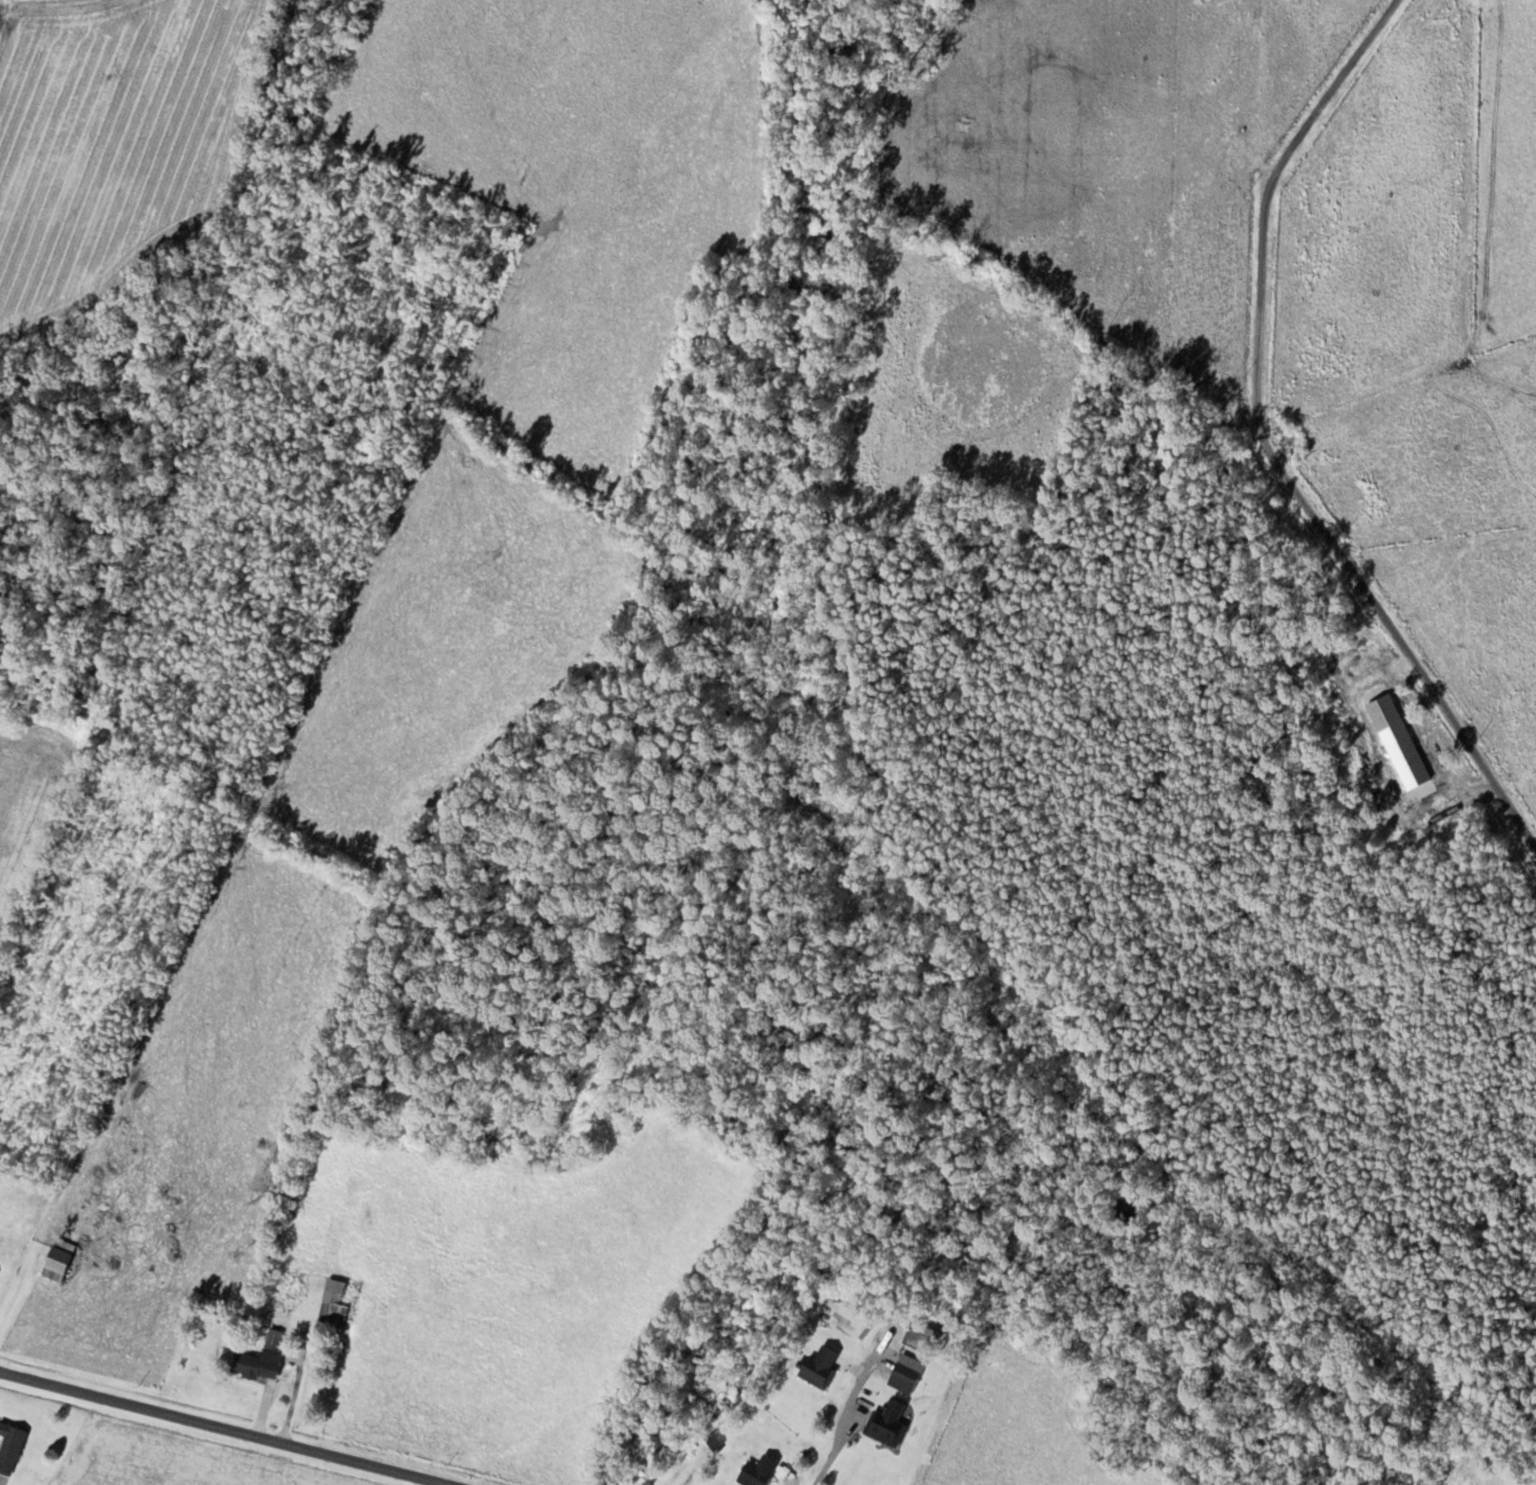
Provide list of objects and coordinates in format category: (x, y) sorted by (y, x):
road: (1404, 650)
building: (1400, 742)
building: (59, 1259)
building: (335, 1306)
building: (264, 1357)
building: (822, 1366)
building: (907, 1373)
road: (224, 1428)
building: (886, 1428)
building: (11, 1446)
building: (760, 1471)

